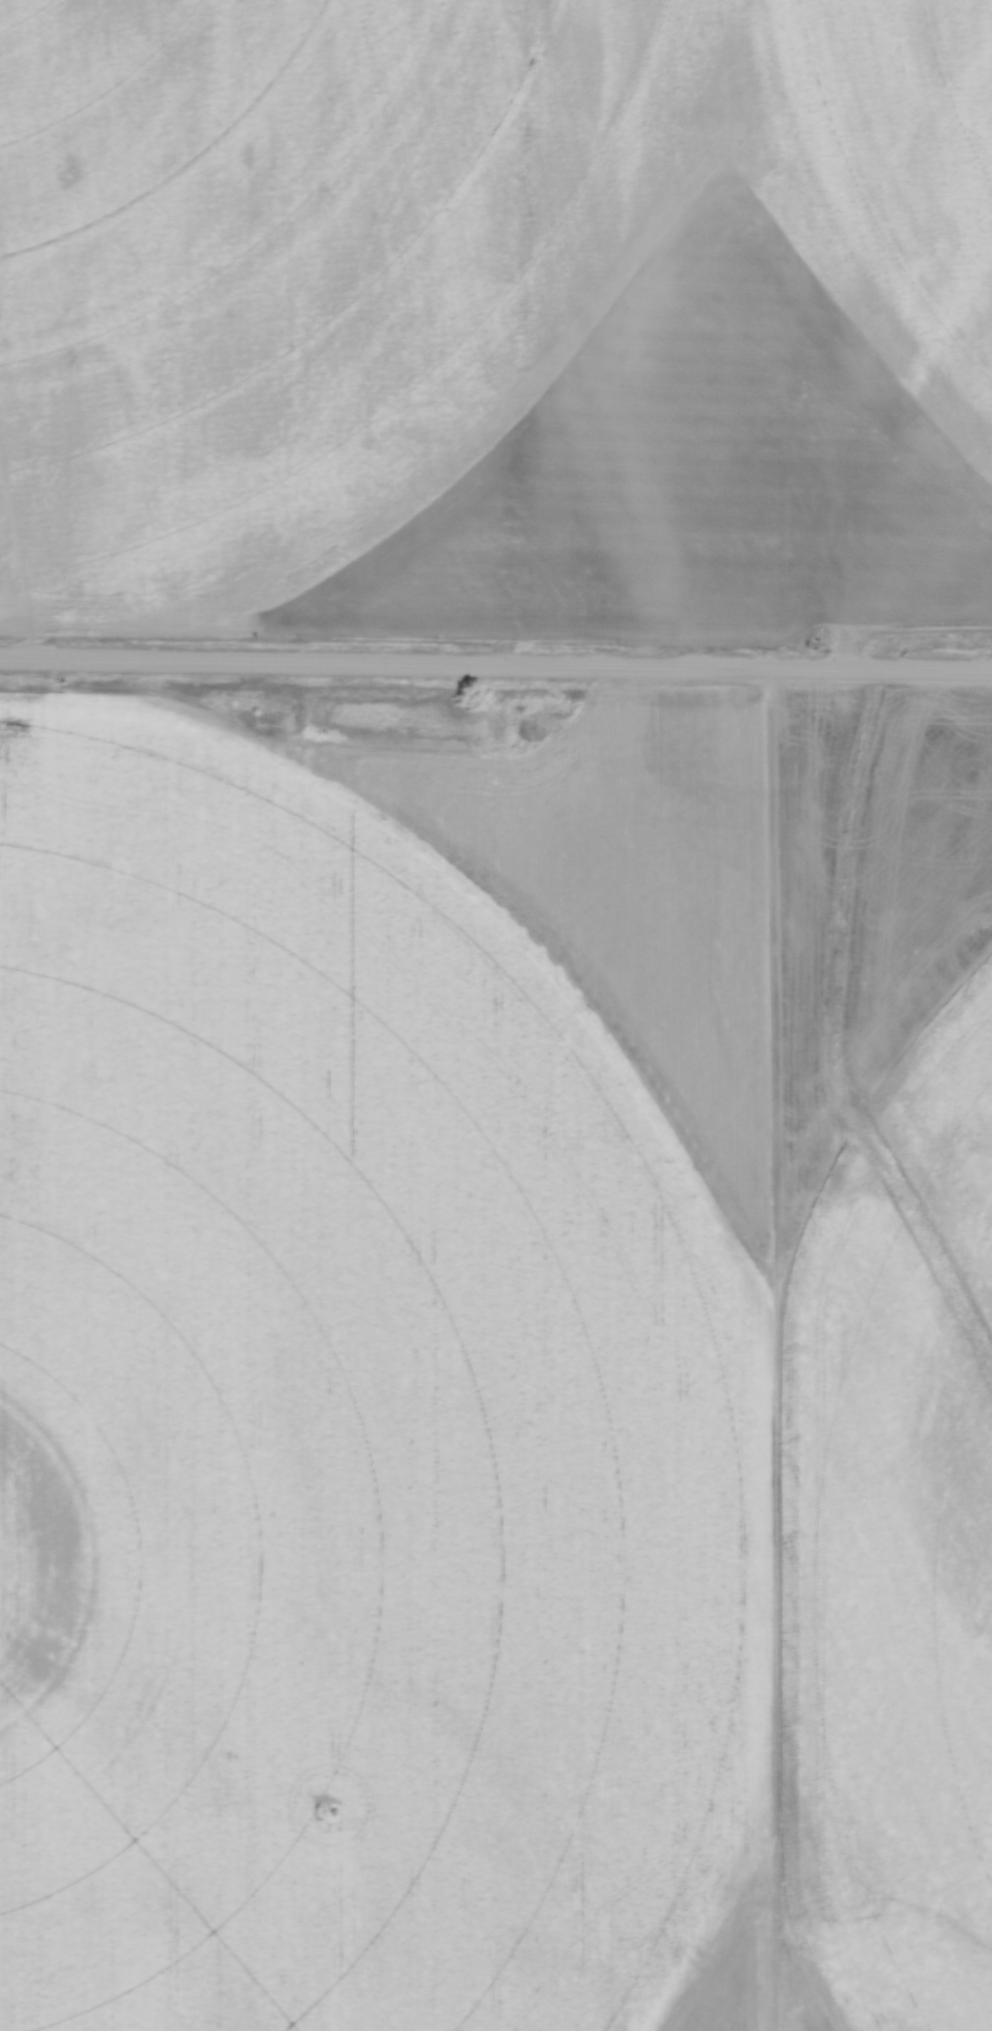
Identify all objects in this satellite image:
crop: (496, 316)
road: (495, 670)
crop: (495, 1373)

